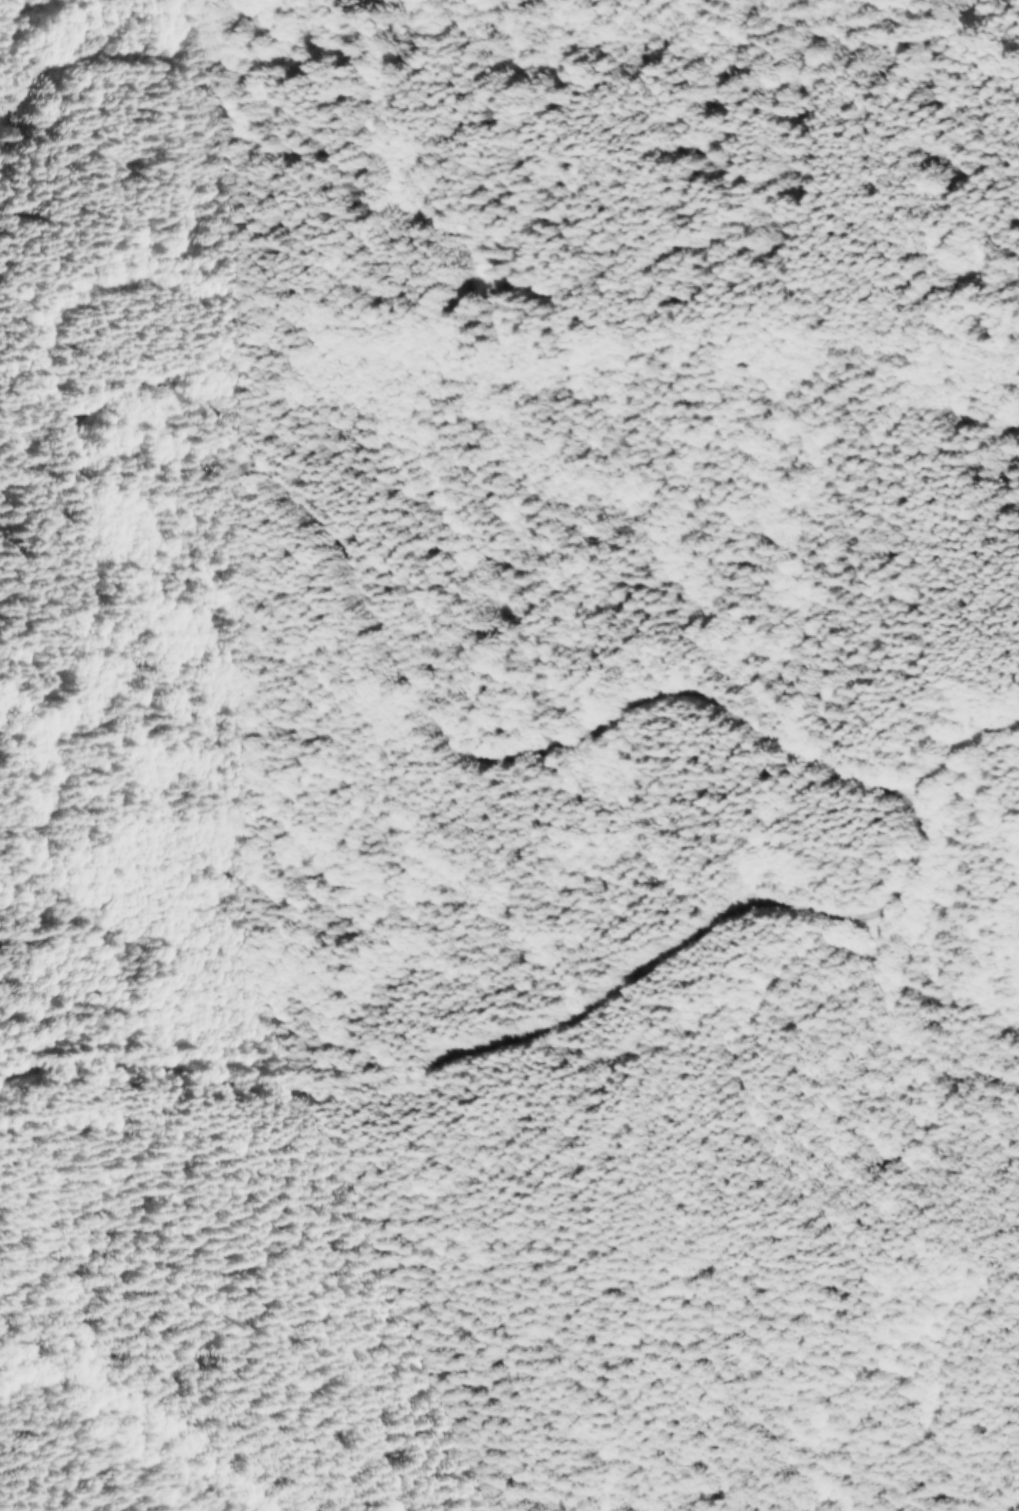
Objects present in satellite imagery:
road: (443, 337)
road: (24, 395)
road: (746, 678)

